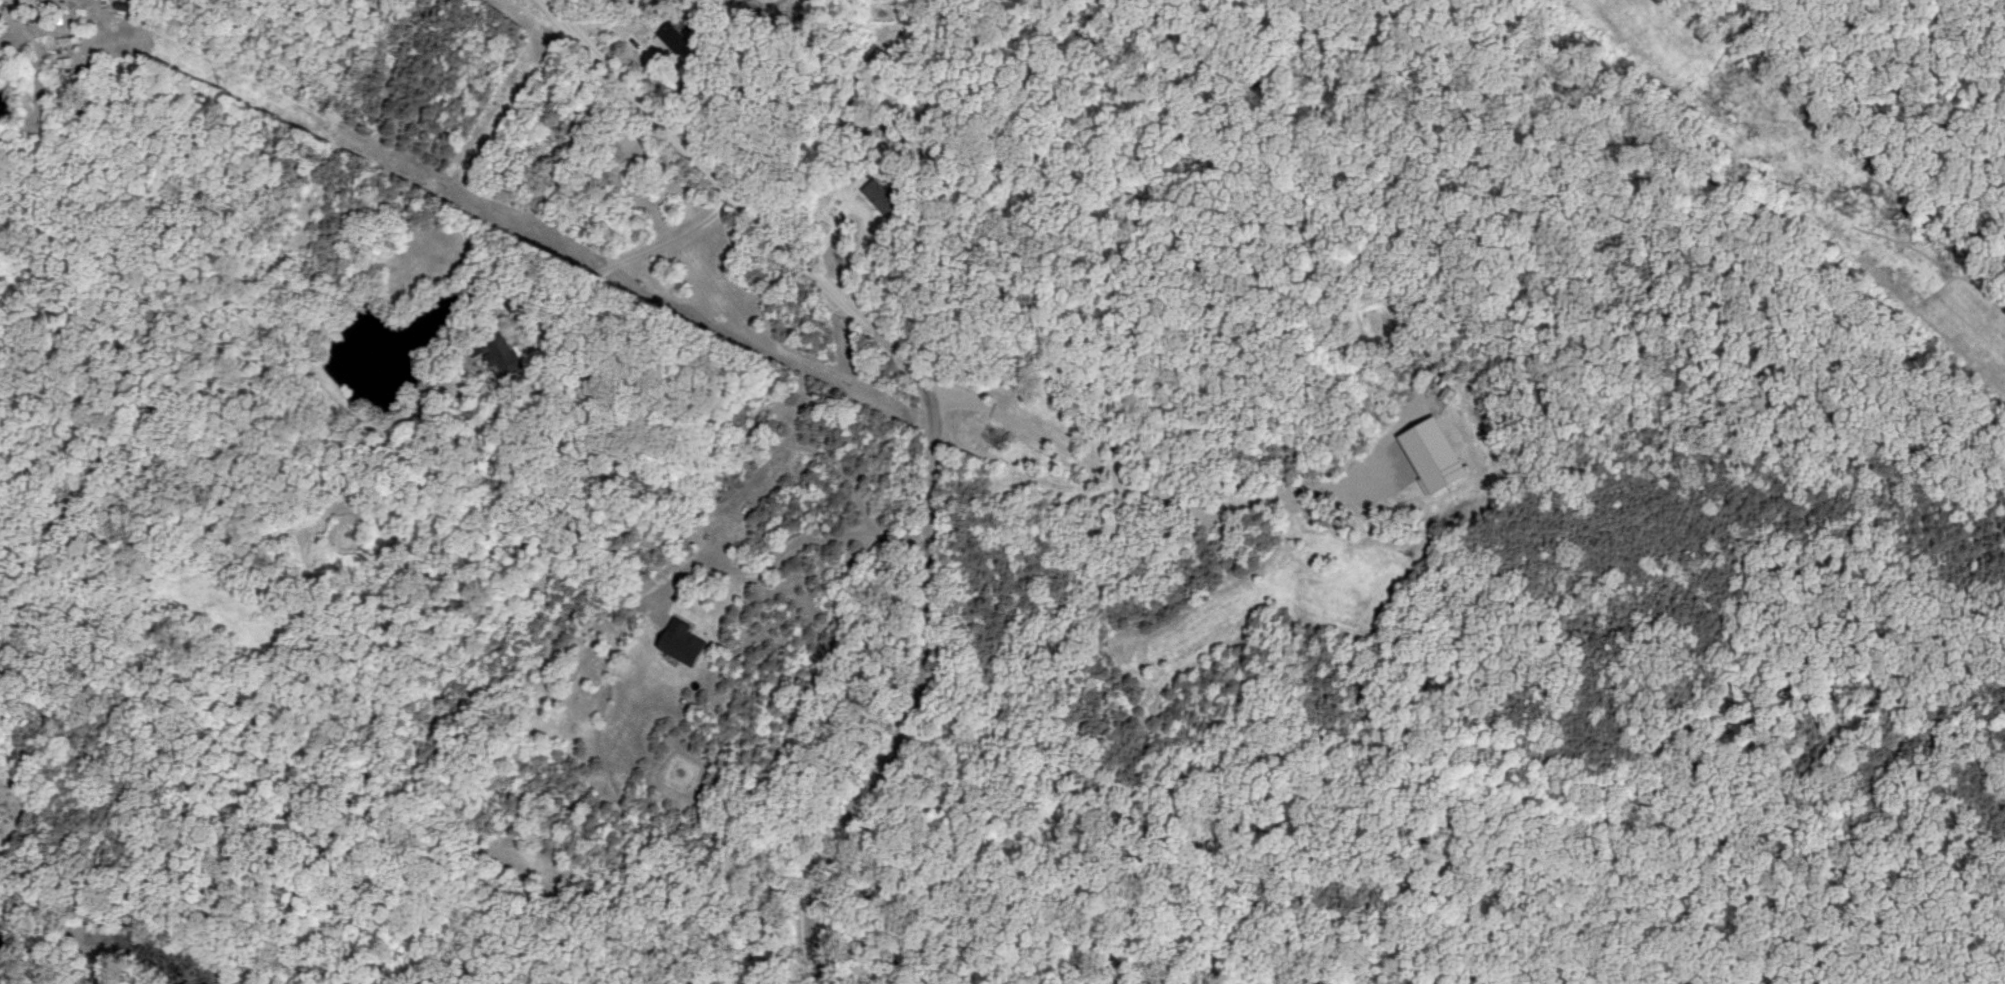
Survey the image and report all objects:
building: (122, 9)
building: (672, 38)
power tower: (1742, 108)
building: (878, 197)
road: (630, 254)
building: (501, 355)
road: (927, 430)
road: (1146, 491)
road: (781, 553)
building: (684, 643)

